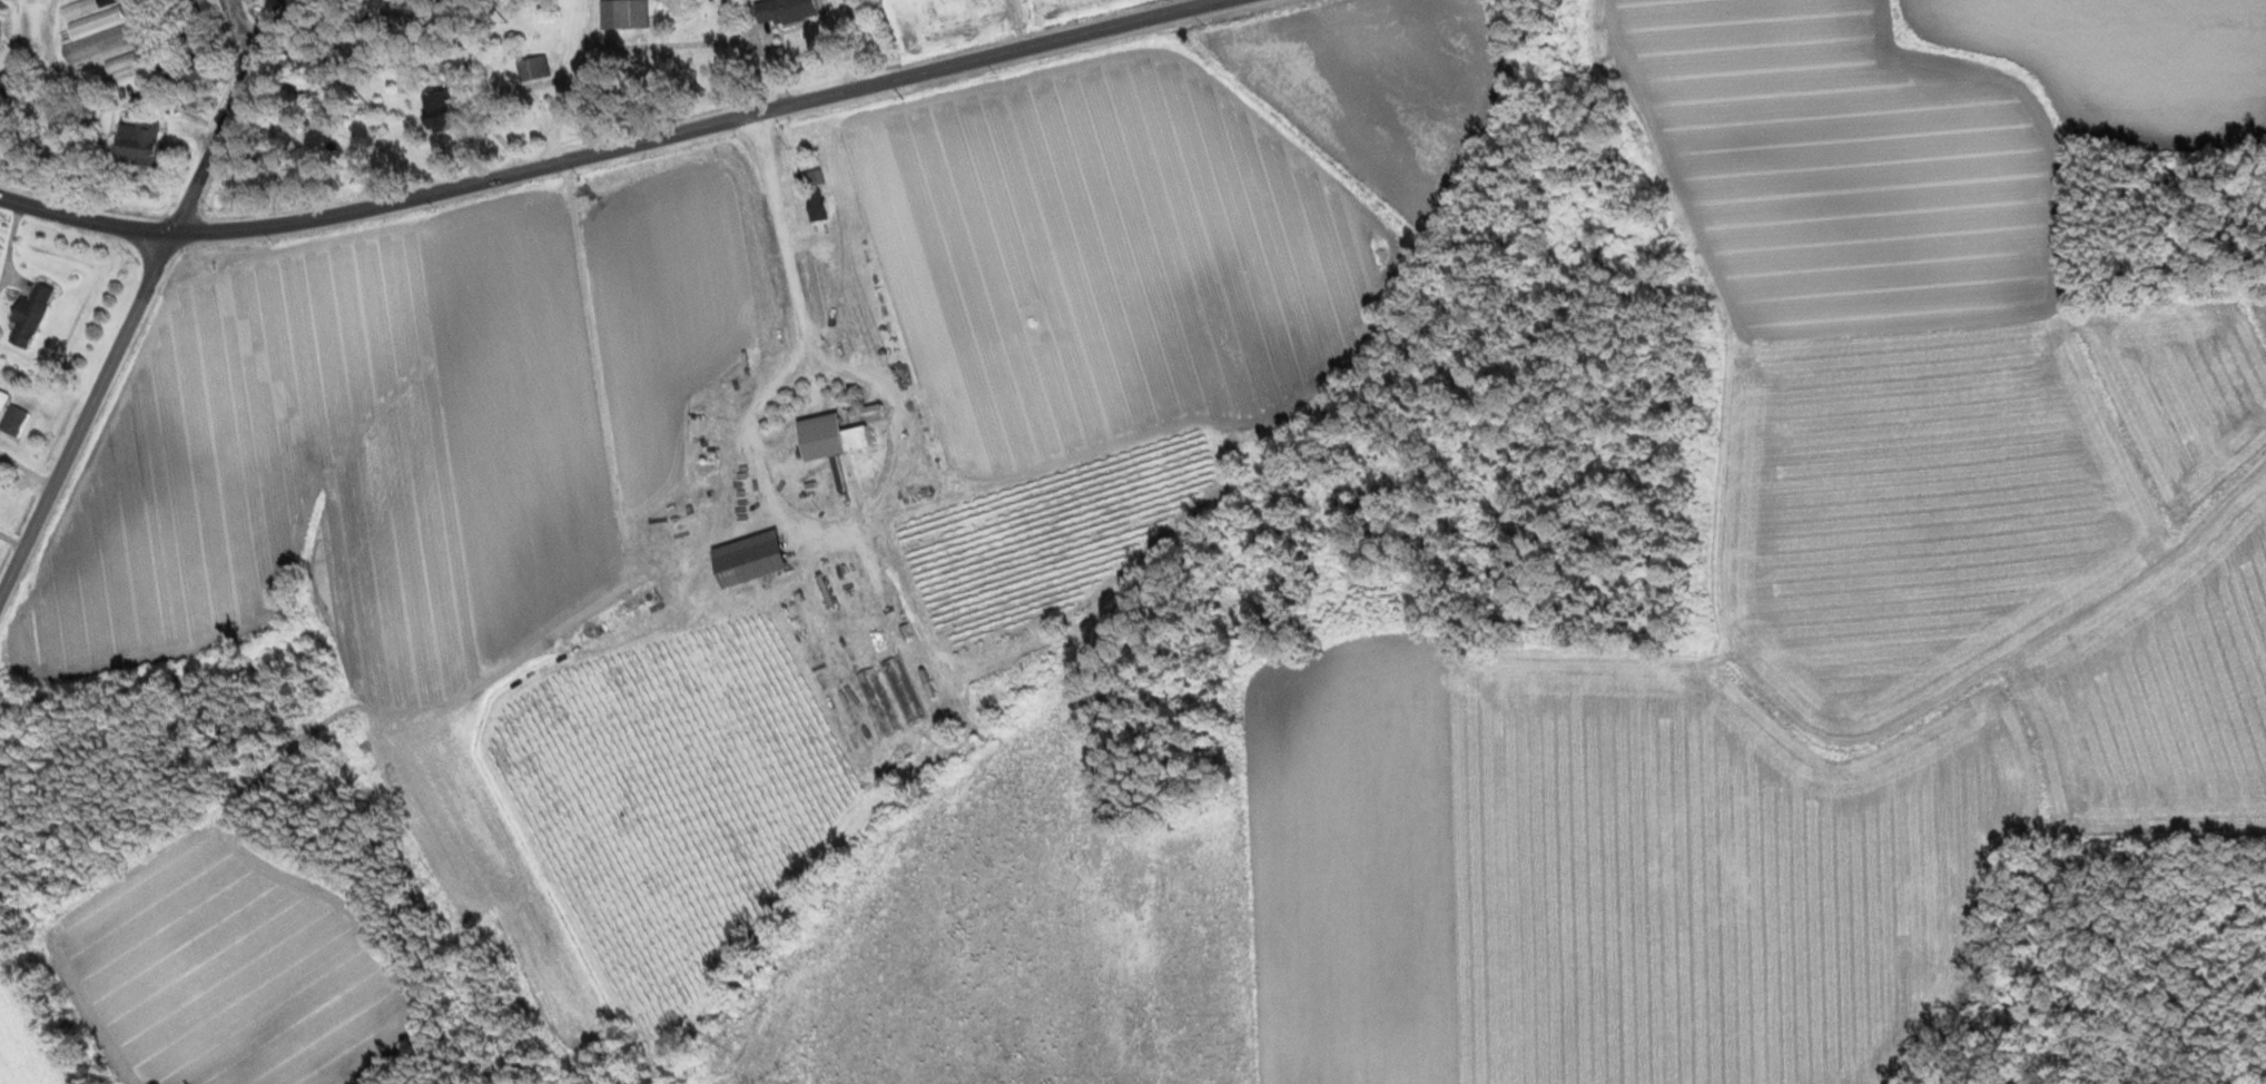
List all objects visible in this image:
building: (206, 7)
building: (781, 10)
building: (621, 13)
building: (87, 14)
road: (250, 26)
road: (888, 39)
building: (95, 43)
building: (118, 62)
building: (530, 68)
building: (185, 70)
building: (6, 80)
road: (572, 85)
building: (432, 109)
building: (135, 139)
road: (615, 148)
building: (808, 178)
road: (145, 302)
building: (26, 314)
building: (817, 436)
road: (2233, 501)

